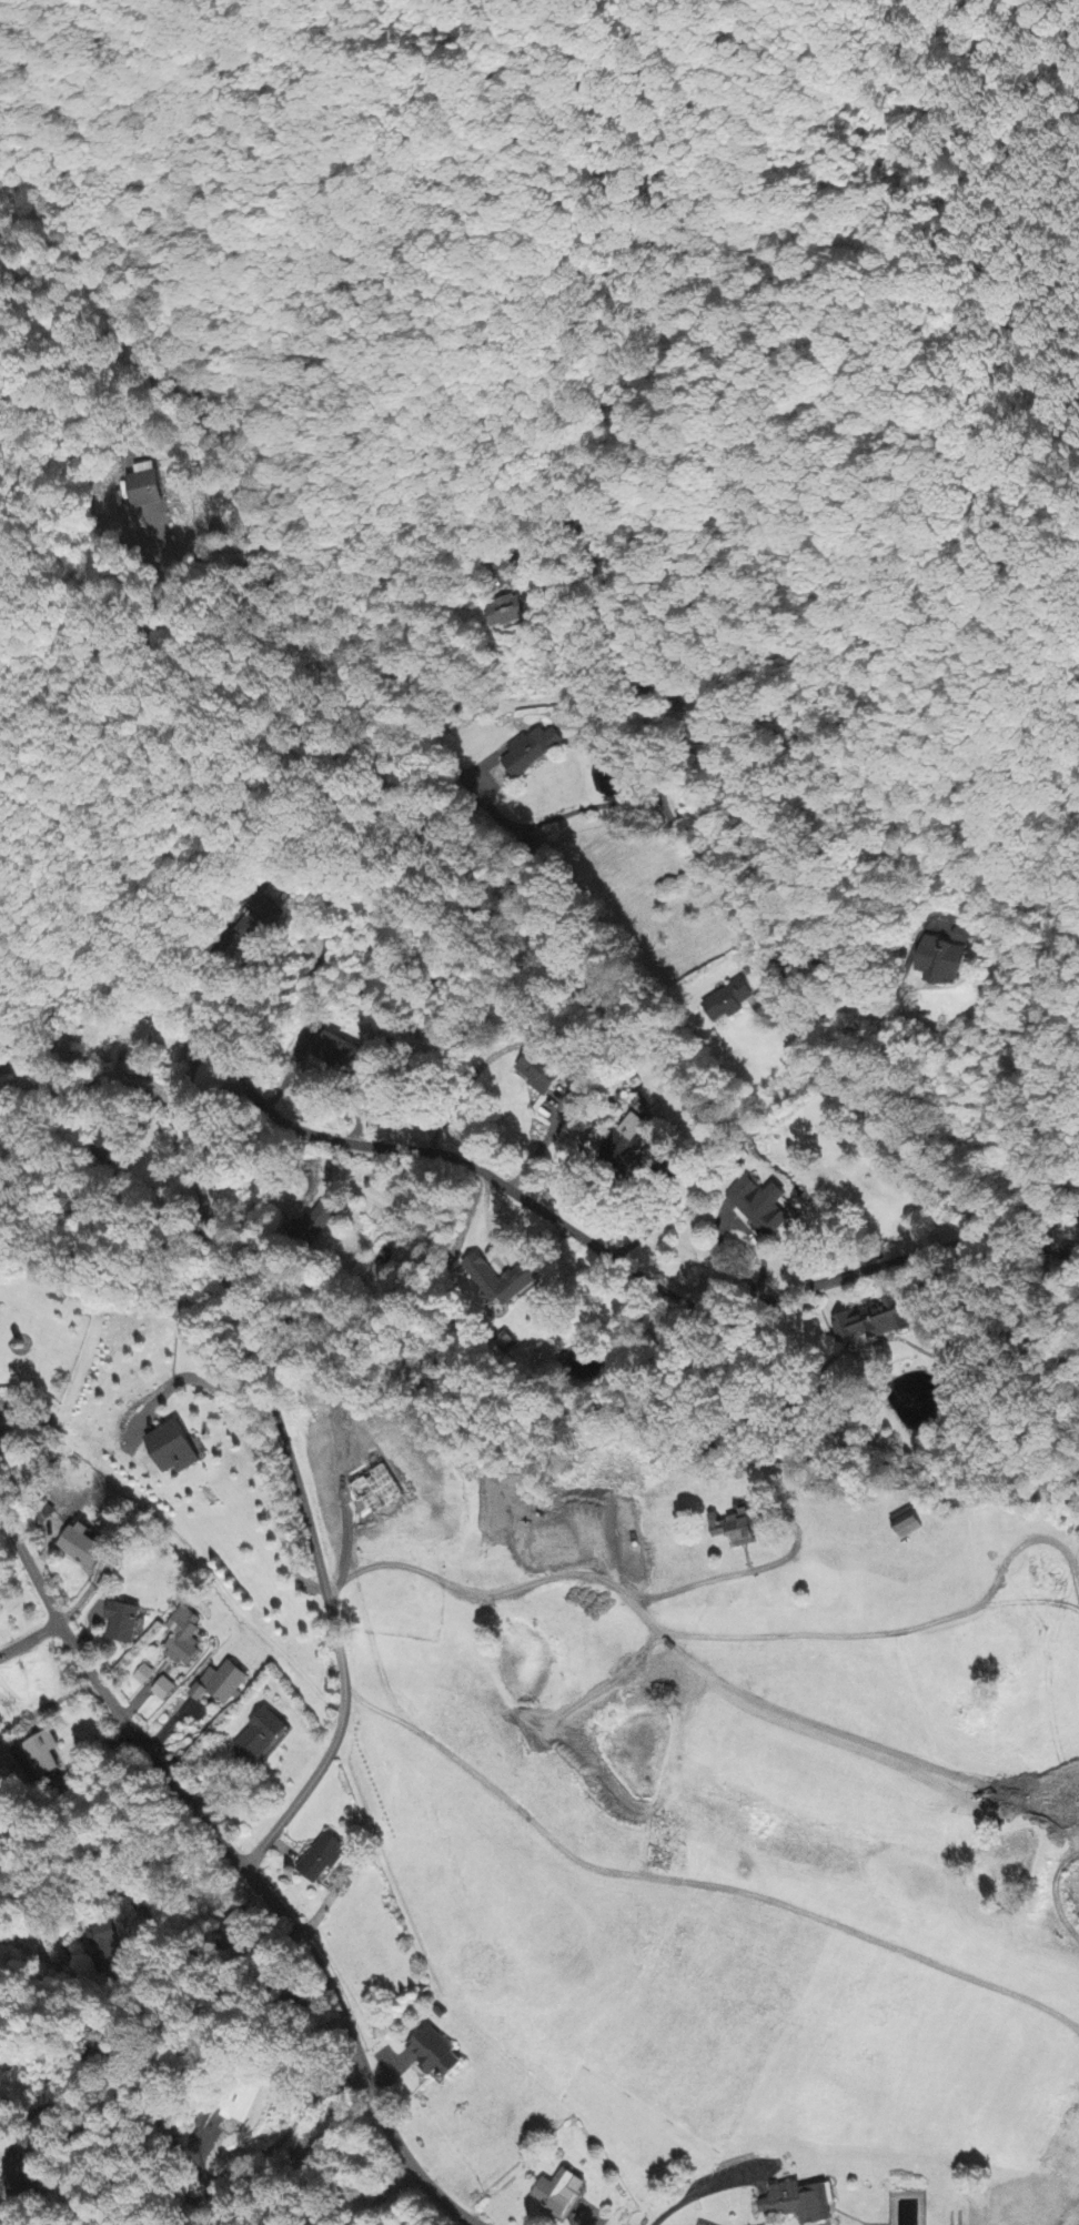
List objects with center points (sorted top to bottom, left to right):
road: (9, 435)
road: (615, 572)
road: (160, 593)
building: (510, 613)
building: (531, 752)
road: (179, 852)
road: (299, 883)
building: (941, 962)
road: (863, 987)
building: (727, 1003)
building: (541, 1074)
road: (87, 1085)
building: (625, 1137)
road: (481, 1204)
building: (760, 1207)
building: (316, 1225)
road: (645, 1234)
road: (1022, 1249)
building: (500, 1282)
building: (873, 1325)
building: (172, 1448)
building: (906, 1523)
building: (739, 1528)
building: (83, 1547)
road: (495, 1595)
building: (122, 1622)
building: (183, 1637)
road: (29, 1638)
building: (143, 1675)
building: (221, 1684)
building: (163, 1690)
building: (261, 1739)
building: (42, 1755)
building: (323, 1860)
road: (232, 1884)
road: (24, 1900)
building: (240, 1929)
building: (433, 2056)
road: (34, 2087)
road: (183, 2188)
road: (363, 2192)
building: (559, 2194)
building: (798, 2204)

